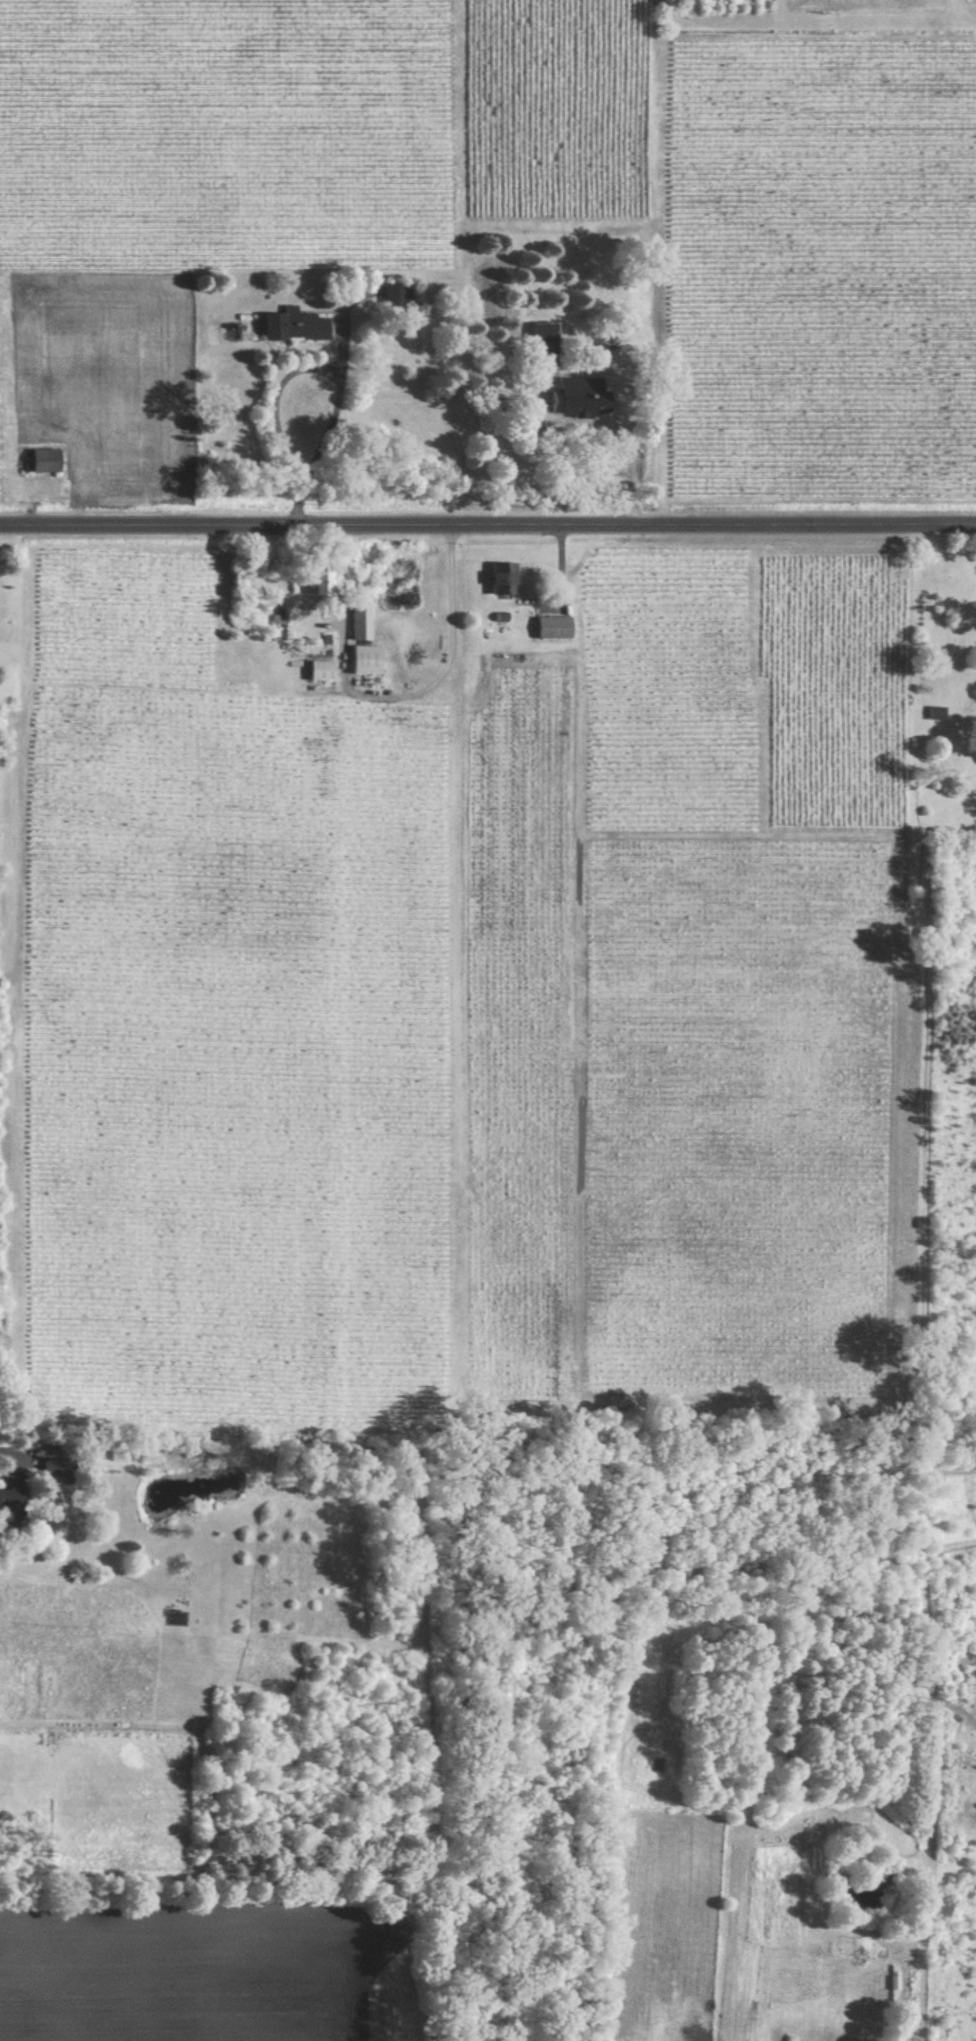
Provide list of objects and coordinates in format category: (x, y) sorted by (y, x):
building: (396, 296)
building: (297, 324)
building: (546, 328)
road: (321, 379)
road: (629, 431)
building: (46, 459)
road: (488, 522)
building: (507, 577)
building: (363, 622)
building: (557, 625)
building: (370, 658)
building: (324, 669)
building: (939, 710)
road: (13, 1458)
building: (57, 1465)
building: (12, 1496)
building: (659, 1764)

